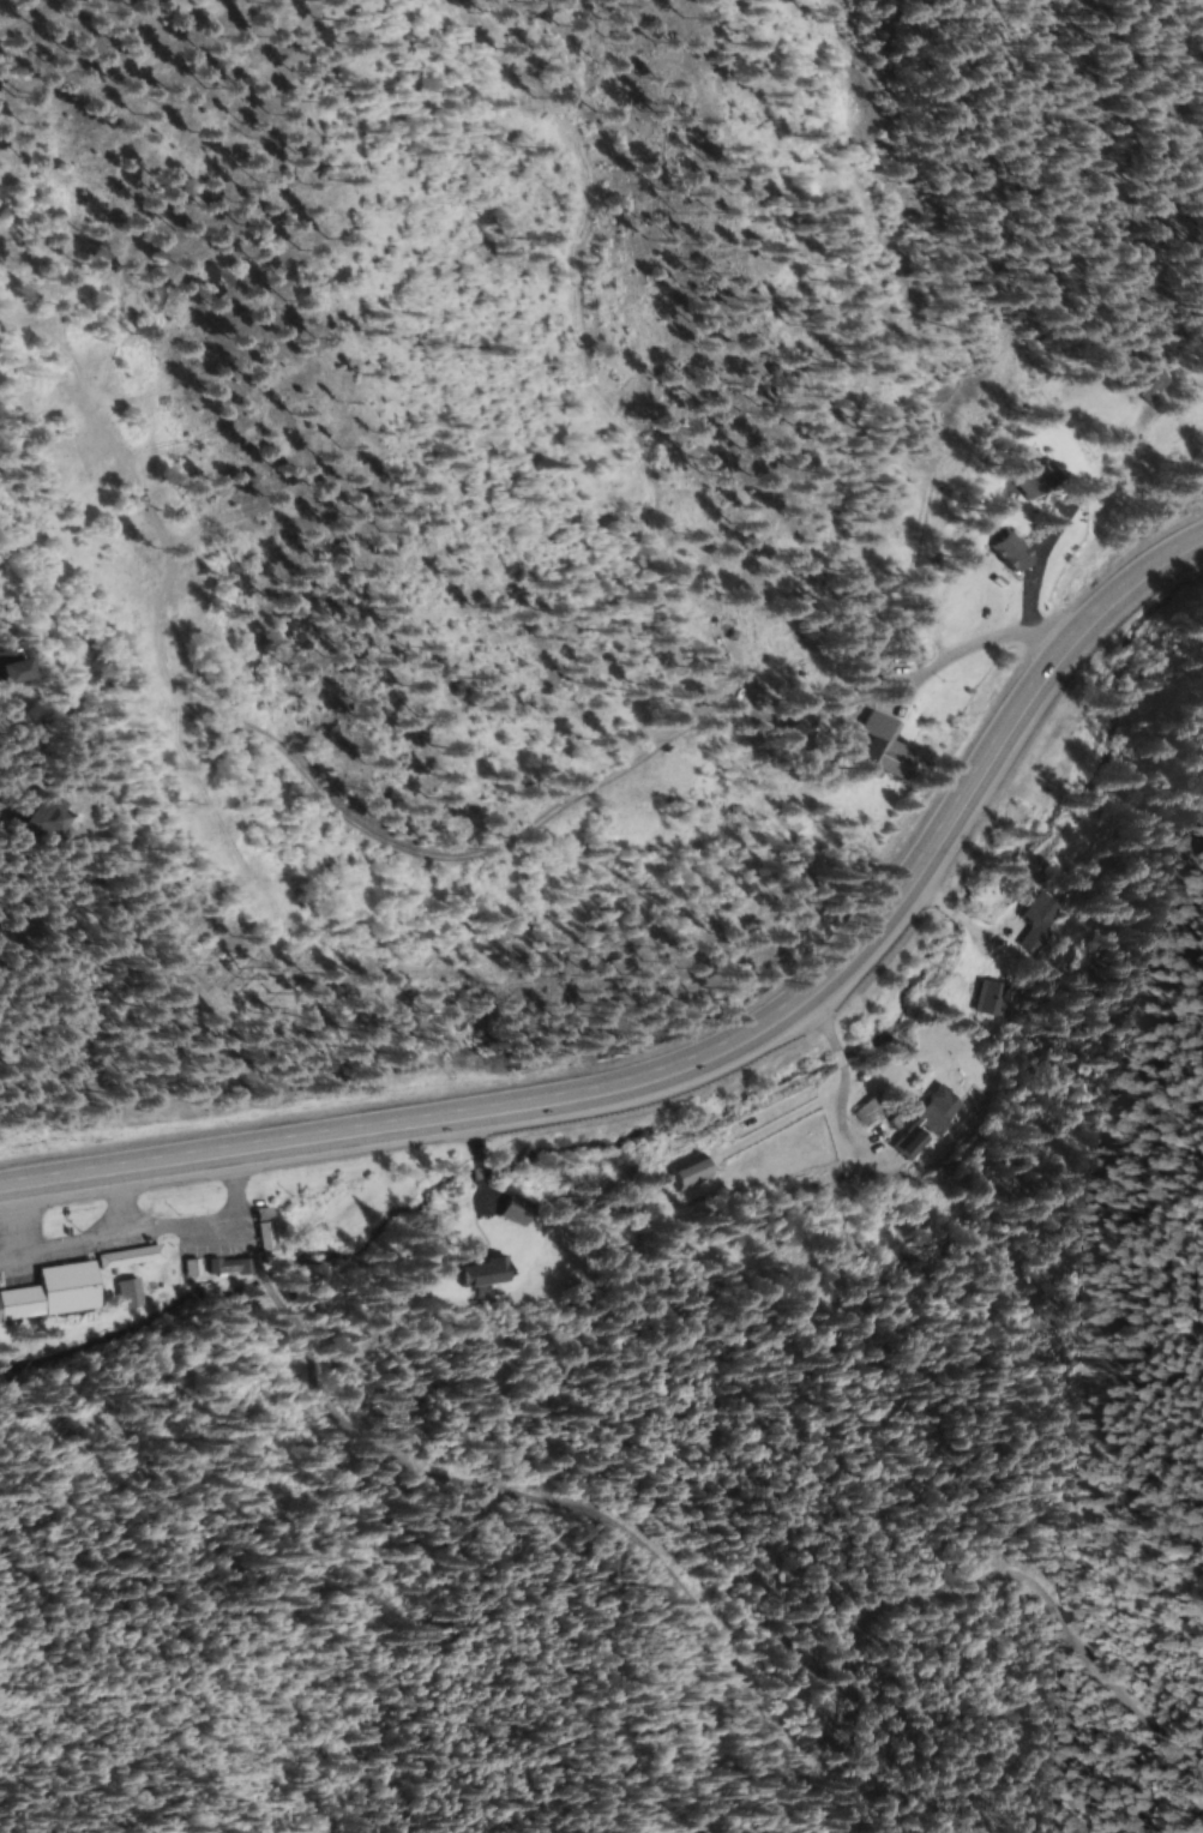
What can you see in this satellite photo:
building: (1159, 386)
building: (1041, 481)
building: (891, 745)
building: (1039, 924)
building: (991, 998)
road: (710, 1069)
building: (870, 1111)
building: (928, 1123)
building: (692, 1171)
road: (120, 1207)
building: (516, 1212)
road: (12, 1230)
road: (142, 1230)
building: (267, 1232)
building: (132, 1256)
building: (237, 1267)
building: (486, 1273)
building: (56, 1292)
building: (130, 1293)
road: (722, 1658)

